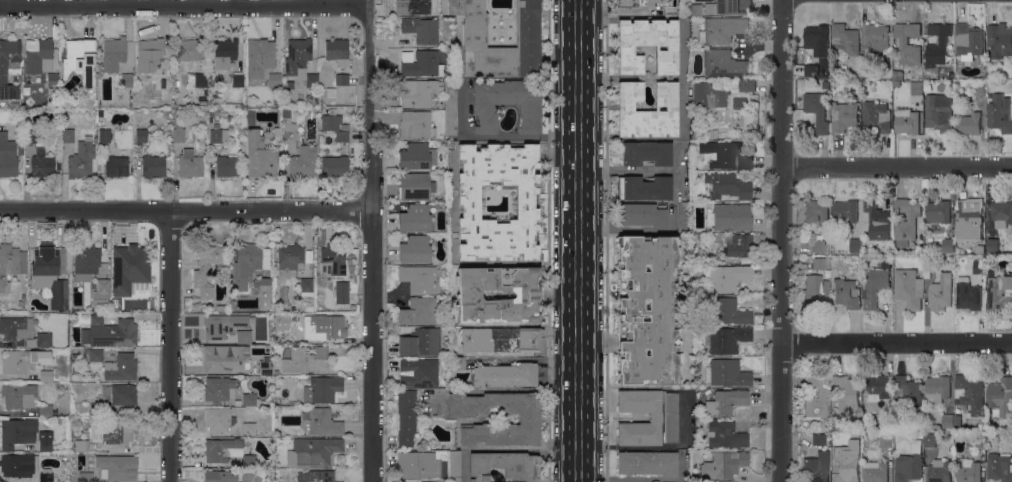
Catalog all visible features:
building: (642, 3)
road: (180, 5)
building: (411, 6)
building: (728, 7)
building: (421, 29)
building: (527, 30)
building: (722, 30)
building: (817, 37)
building: (878, 37)
building: (846, 39)
building: (999, 40)
building: (968, 41)
building: (907, 43)
building: (939, 46)
building: (648, 47)
building: (115, 49)
building: (189, 49)
building: (262, 49)
building: (337, 51)
building: (224, 52)
building: (37, 54)
building: (149, 55)
building: (297, 55)
building: (724, 63)
building: (81, 64)
building: (422, 64)
building: (883, 68)
building: (868, 69)
building: (256, 70)
building: (814, 70)
building: (3, 75)
building: (898, 75)
building: (52, 79)
building: (341, 79)
building: (164, 80)
building: (200, 80)
building: (238, 80)
building: (274, 80)
building: (311, 80)
building: (126, 82)
building: (866, 83)
building: (743, 85)
building: (917, 88)
building: (979, 88)
building: (418, 92)
building: (331, 93)
building: (709, 95)
building: (314, 99)
building: (506, 103)
building: (451, 107)
building: (647, 107)
building: (818, 111)
building: (939, 112)
building: (286, 113)
building: (1000, 113)
building: (845, 116)
building: (250, 117)
building: (877, 117)
building: (697, 118)
building: (907, 121)
building: (969, 124)
building: (334, 125)
building: (416, 125)
building: (178, 134)
building: (219, 134)
building: (31, 135)
building: (141, 135)
building: (67, 136)
building: (104, 136)
road: (497, 136)
building: (286, 137)
building: (20, 150)
building: (647, 153)
building: (725, 155)
building: (7, 156)
building: (417, 156)
building: (259, 157)
building: (81, 159)
building: (303, 162)
building: (42, 163)
building: (190, 164)
building: (116, 166)
building: (153, 166)
building: (227, 166)
building: (335, 166)
road: (896, 166)
road: (623, 170)
building: (728, 185)
building: (415, 187)
building: (645, 188)
building: (469, 198)
road: (185, 210)
building: (817, 211)
building: (845, 211)
building: (938, 212)
building: (1002, 213)
building: (642, 215)
building: (970, 215)
building: (732, 217)
building: (416, 218)
building: (683, 218)
building: (906, 221)
building: (874, 222)
road: (578, 240)
road: (780, 241)
road: (371, 243)
building: (737, 245)
building: (855, 245)
building: (948, 245)
building: (992, 245)
building: (819, 246)
building: (416, 248)
building: (290, 257)
building: (250, 260)
building: (332, 260)
building: (86, 262)
building: (819, 263)
building: (930, 264)
building: (11, 265)
building: (62, 265)
building: (979, 267)
building: (130, 270)
building: (49, 274)
building: (200, 276)
building: (726, 277)
building: (418, 278)
building: (306, 284)
building: (103, 286)
building: (876, 288)
building: (909, 288)
building: (264, 291)
building: (342, 292)
building: (941, 292)
building: (815, 293)
building: (846, 293)
building: (1000, 293)
building: (468, 295)
building: (968, 295)
building: (21, 303)
building: (232, 304)
building: (218, 308)
building: (308, 308)
building: (647, 309)
building: (419, 311)
building: (726, 311)
building: (280, 321)
building: (222, 325)
building: (328, 325)
building: (15, 327)
building: (109, 332)
building: (244, 336)
building: (44, 339)
building: (500, 339)
building: (727, 339)
building: (422, 342)
road: (896, 342)
road: (169, 346)
building: (94, 354)
building: (226, 358)
building: (22, 360)
building: (305, 360)
building: (459, 363)
building: (121, 367)
building: (267, 367)
building: (418, 373)
building: (728, 373)
building: (505, 375)
building: (46, 376)
building: (877, 385)
building: (217, 388)
building: (322, 389)
building: (938, 389)
building: (907, 391)
building: (846, 392)
building: (970, 393)
building: (19, 395)
building: (121, 395)
building: (817, 396)
building: (1001, 396)
building: (249, 399)
building: (262, 402)
building: (725, 402)
building: (97, 409)
building: (46, 411)
building: (406, 416)
building: (655, 417)
building: (218, 419)
building: (529, 420)
building: (957, 420)
building: (322, 421)
building: (886, 421)
building: (948, 421)
building: (248, 428)
building: (113, 431)
building: (17, 432)
building: (919, 434)
building: (725, 435)
building: (818, 439)
building: (45, 440)
building: (886, 440)
building: (929, 440)
building: (979, 441)
building: (81, 445)
building: (226, 451)
building: (313, 451)
building: (846, 462)
building: (647, 463)
building: (18, 464)
building: (64, 464)
building: (909, 464)
building: (419, 465)
building: (503, 465)
building: (724, 465)
building: (455, 466)
building: (119, 467)
building: (817, 467)
building: (999, 467)
building: (968, 470)
building: (875, 471)
building: (940, 471)
building: (46, 475)
building: (220, 475)
building: (316, 476)
building: (86, 477)
building: (400, 481)

